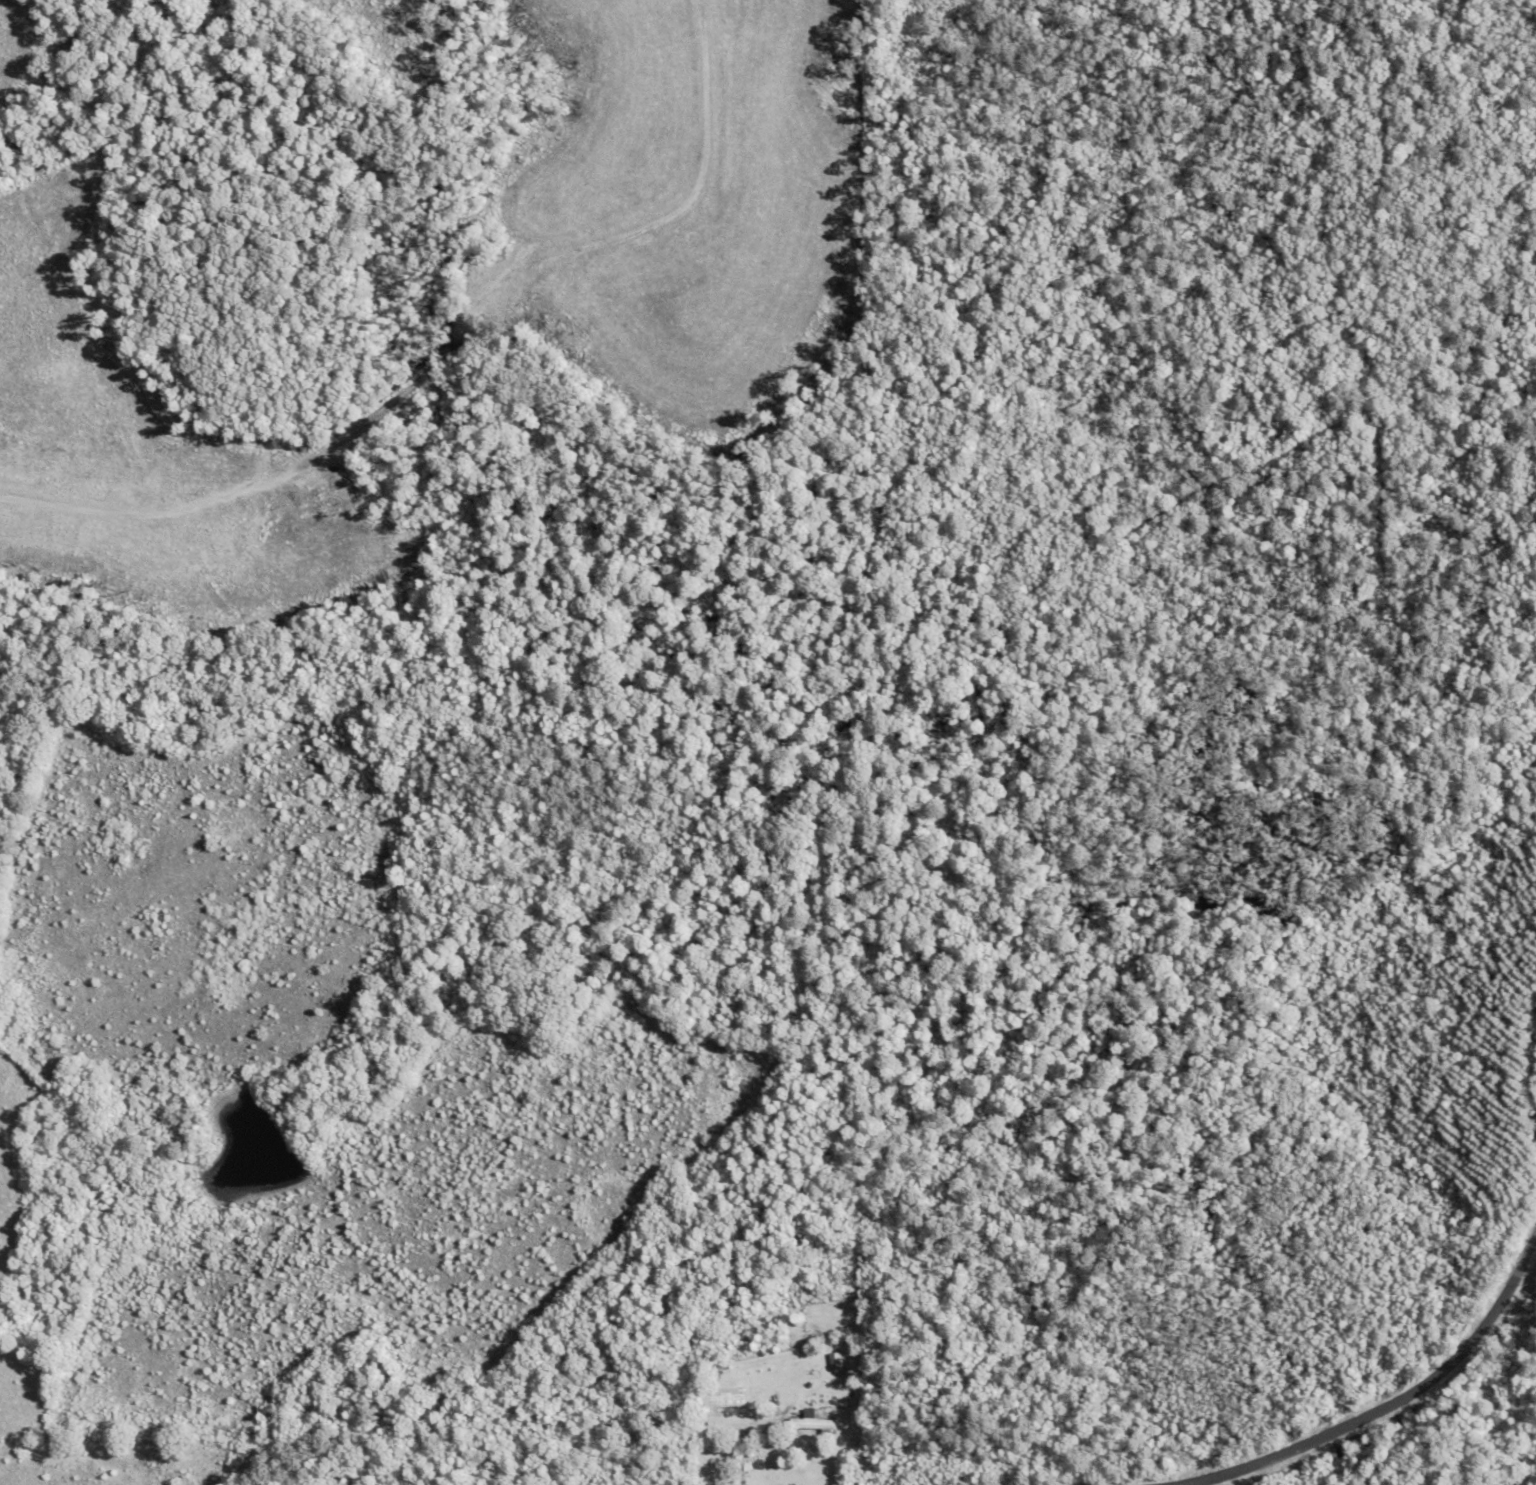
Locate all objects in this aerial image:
building: (835, 1359)
road: (1396, 1403)
building: (811, 1422)

